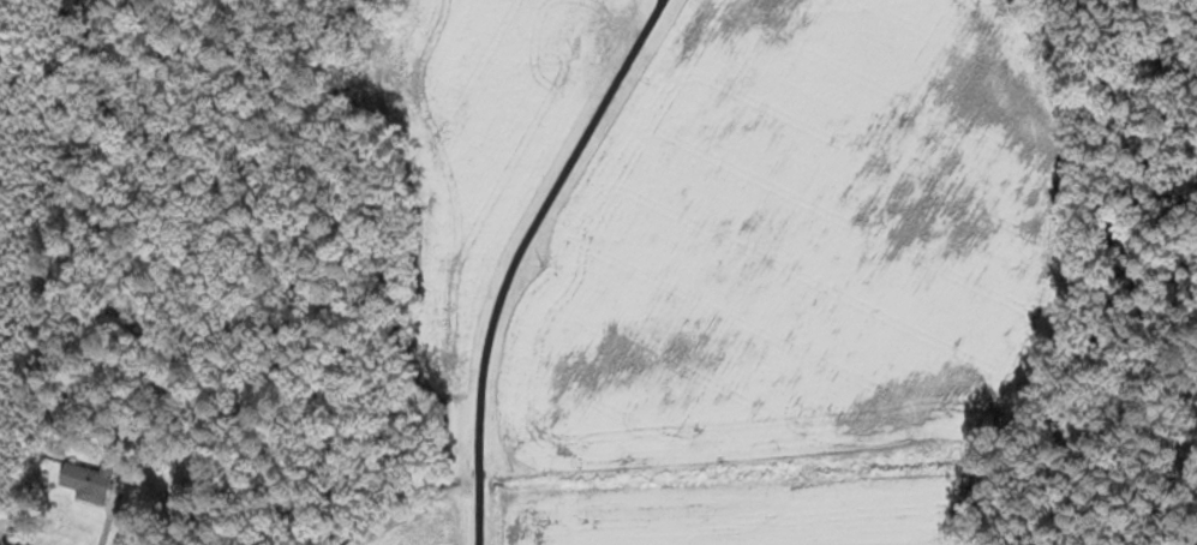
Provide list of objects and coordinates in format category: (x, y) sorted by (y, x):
road: (477, 256)
building: (88, 483)

